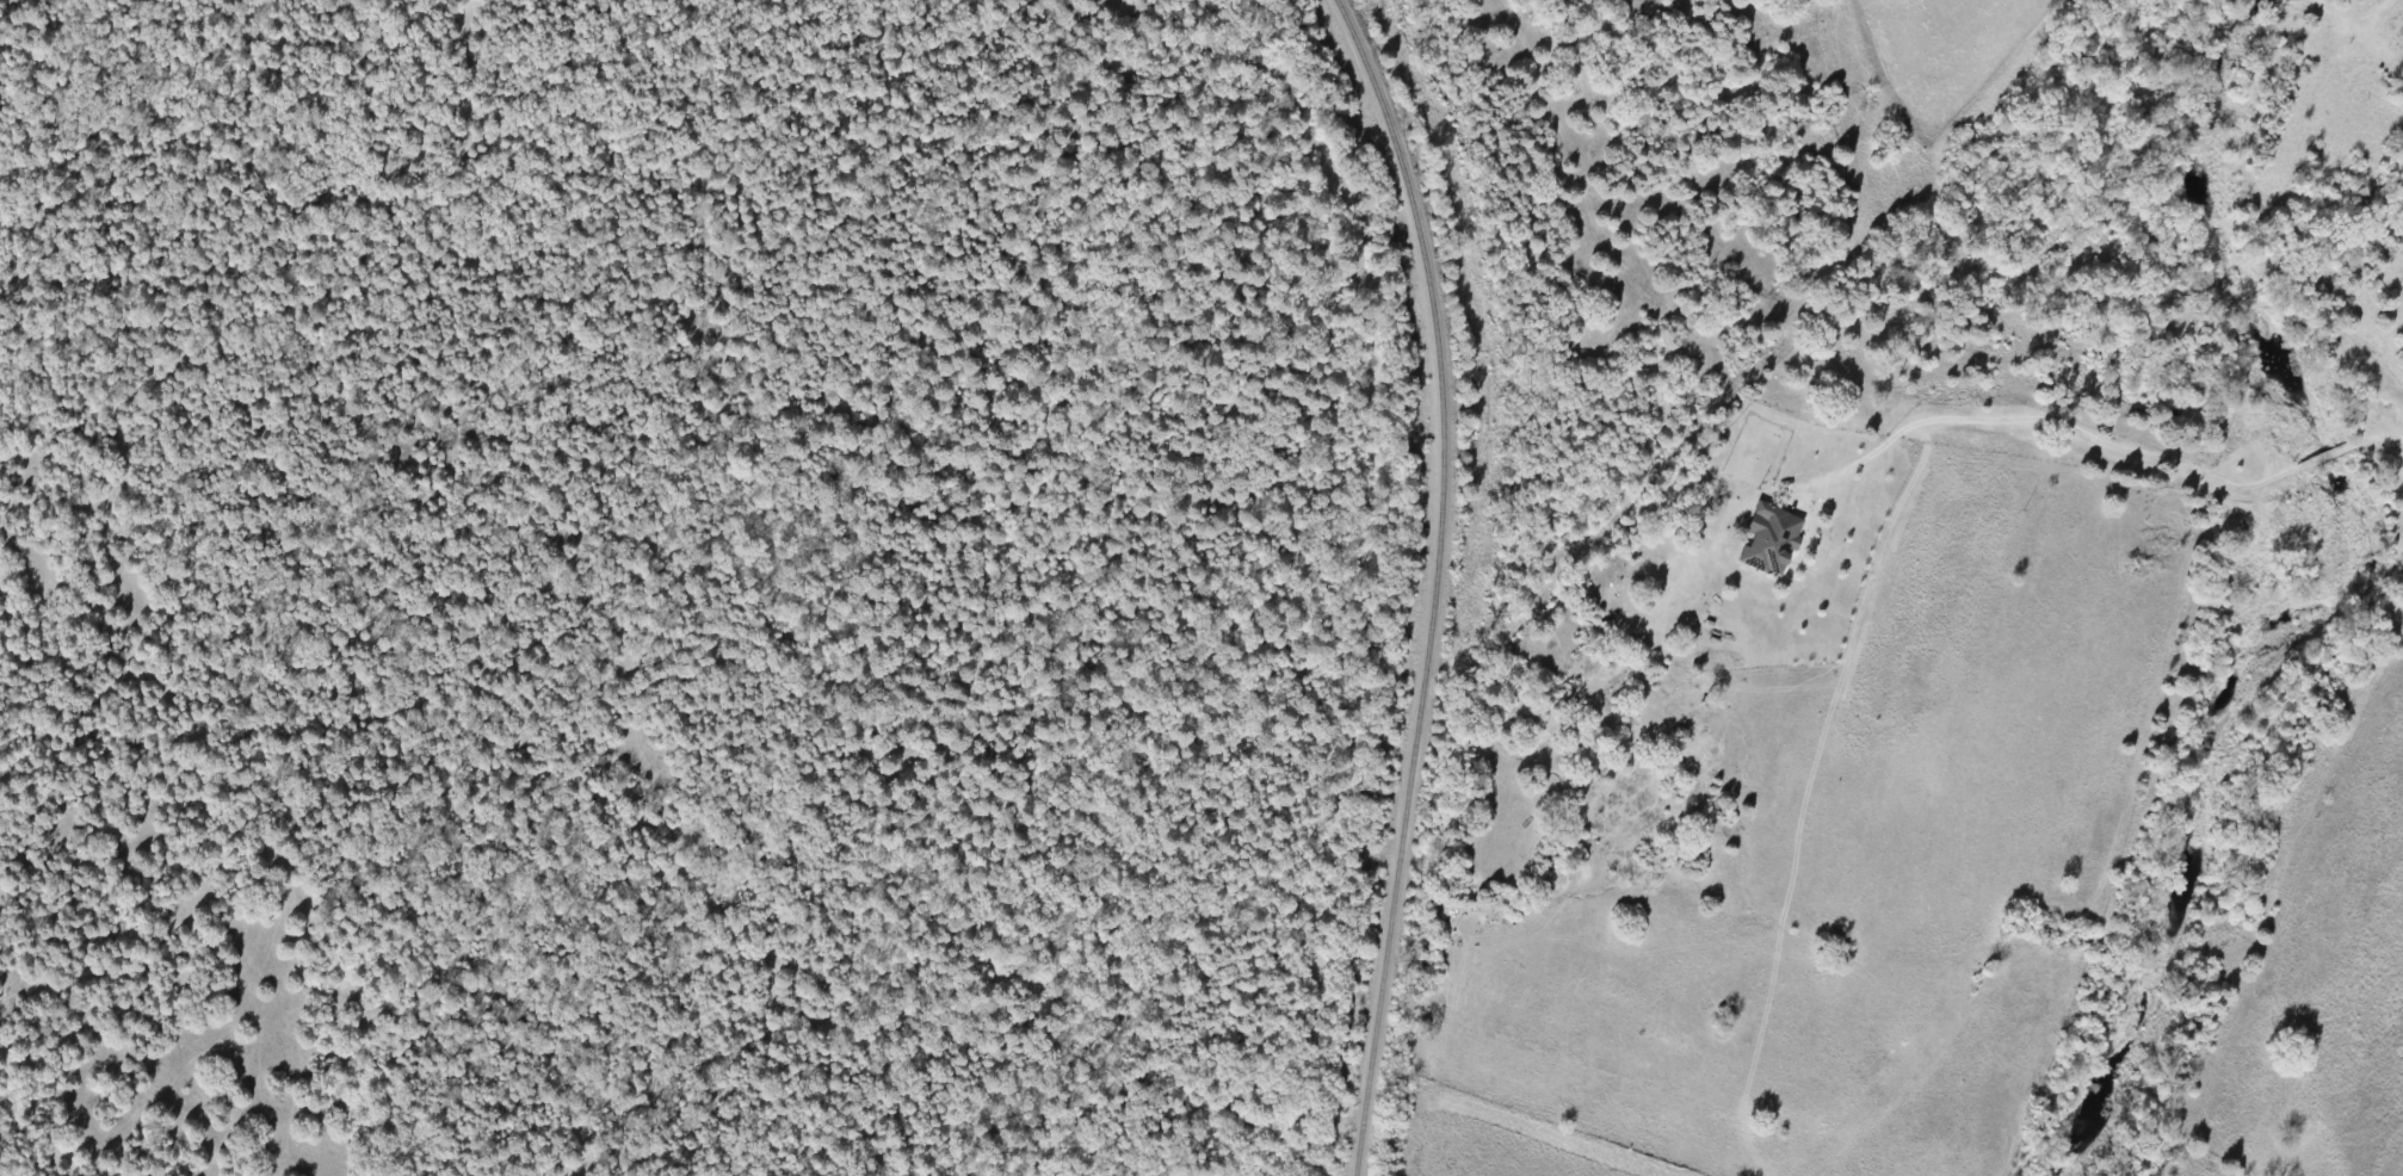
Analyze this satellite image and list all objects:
road: (2056, 420)
road: (2382, 440)
road: (2330, 454)
building: (1769, 539)
railway: (1438, 582)

